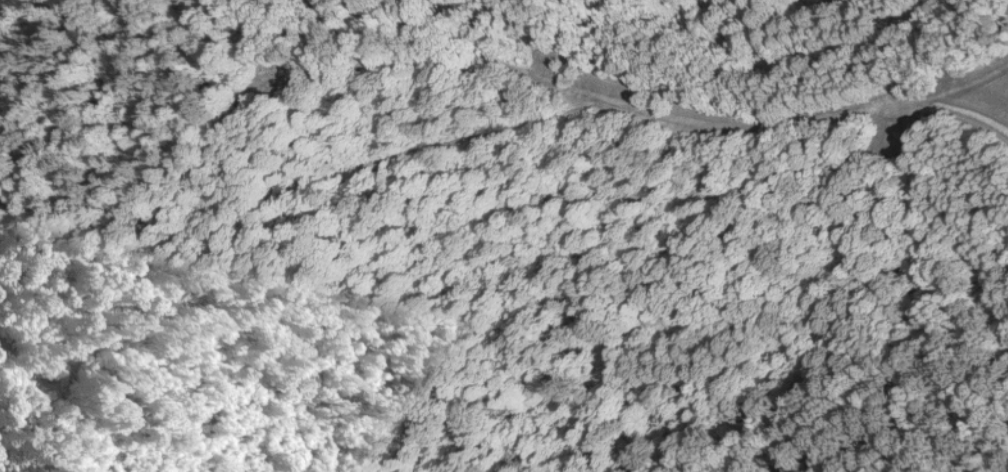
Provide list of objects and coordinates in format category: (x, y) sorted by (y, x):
road: (877, 65)

